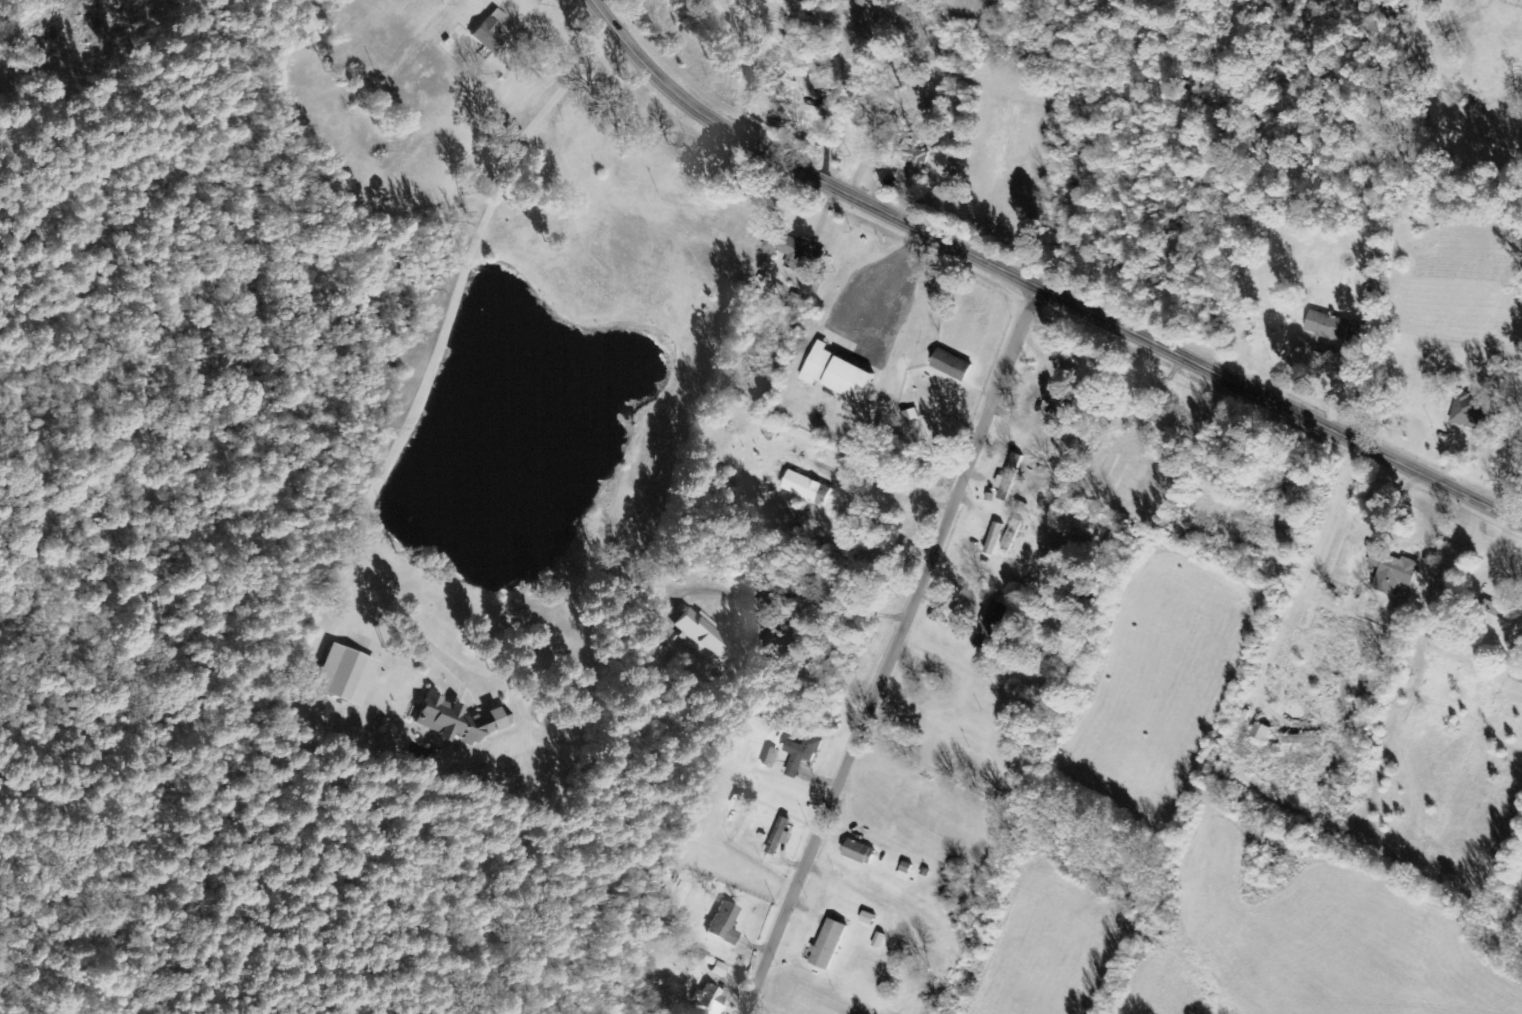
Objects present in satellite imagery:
building: (492, 32)
building: (823, 75)
building: (910, 154)
building: (792, 248)
road: (1037, 287)
building: (1331, 327)
building: (956, 366)
building: (841, 374)
building: (1474, 414)
building: (1012, 479)
building: (809, 489)
building: (1012, 541)
building: (1395, 573)
building: (1507, 621)
building: (994, 625)
building: (705, 637)
building: (1450, 642)
road: (900, 652)
building: (654, 657)
building: (347, 675)
building: (460, 720)
building: (1265, 733)
building: (1307, 741)
building: (804, 755)
building: (773, 759)
building: (783, 836)
building: (908, 873)
building: (726, 924)
building: (832, 945)
building: (720, 970)
building: (711, 999)

